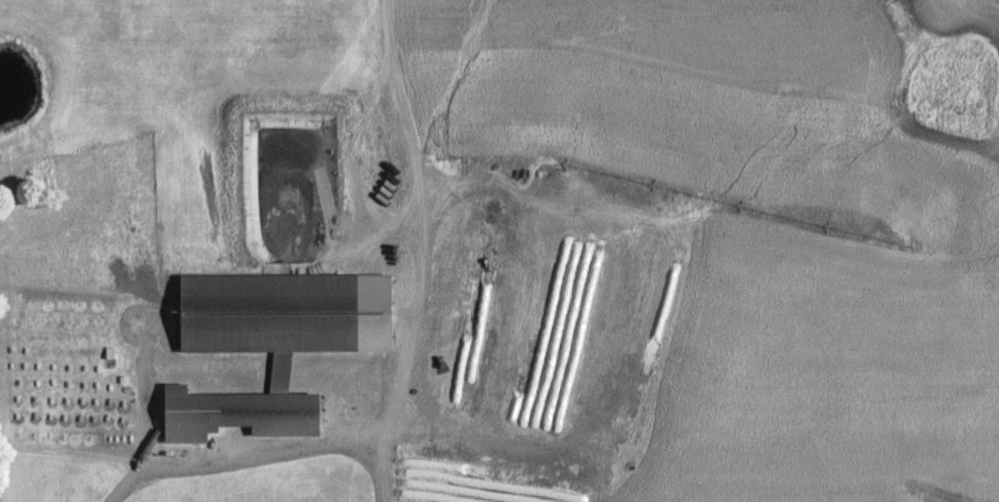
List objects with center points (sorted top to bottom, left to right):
road: (392, 100)
road: (400, 349)
building: (254, 350)
road: (242, 449)

